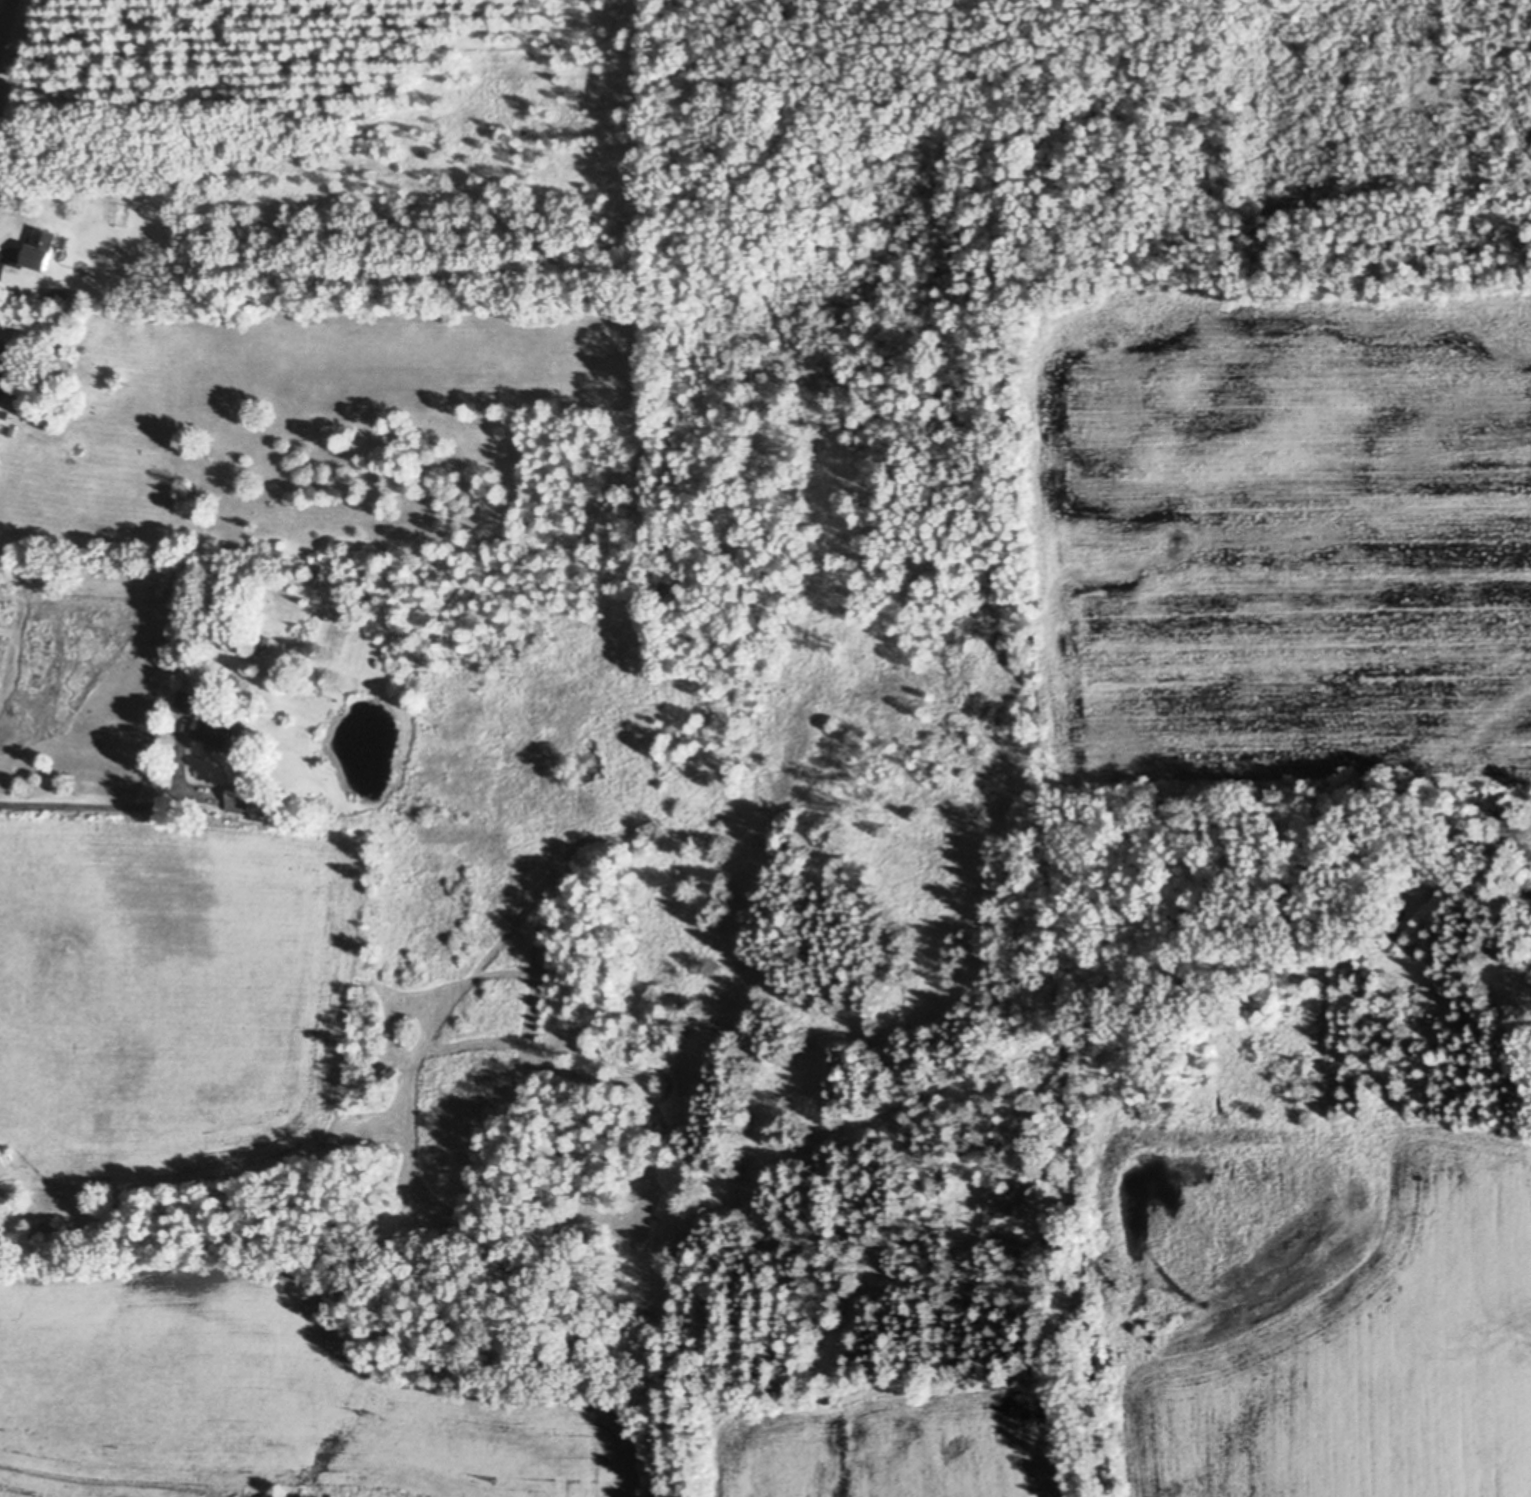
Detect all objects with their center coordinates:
road: (6, 22)
building: (324, 182)
building: (40, 249)
building: (58, 293)
building: (6, 364)
building: (266, 641)
building: (320, 691)
building: (188, 702)
building: (215, 731)
building: (333, 745)
building: (239, 798)
road: (79, 803)
building: (392, 1070)
building: (2, 1164)
building: (43, 1233)

